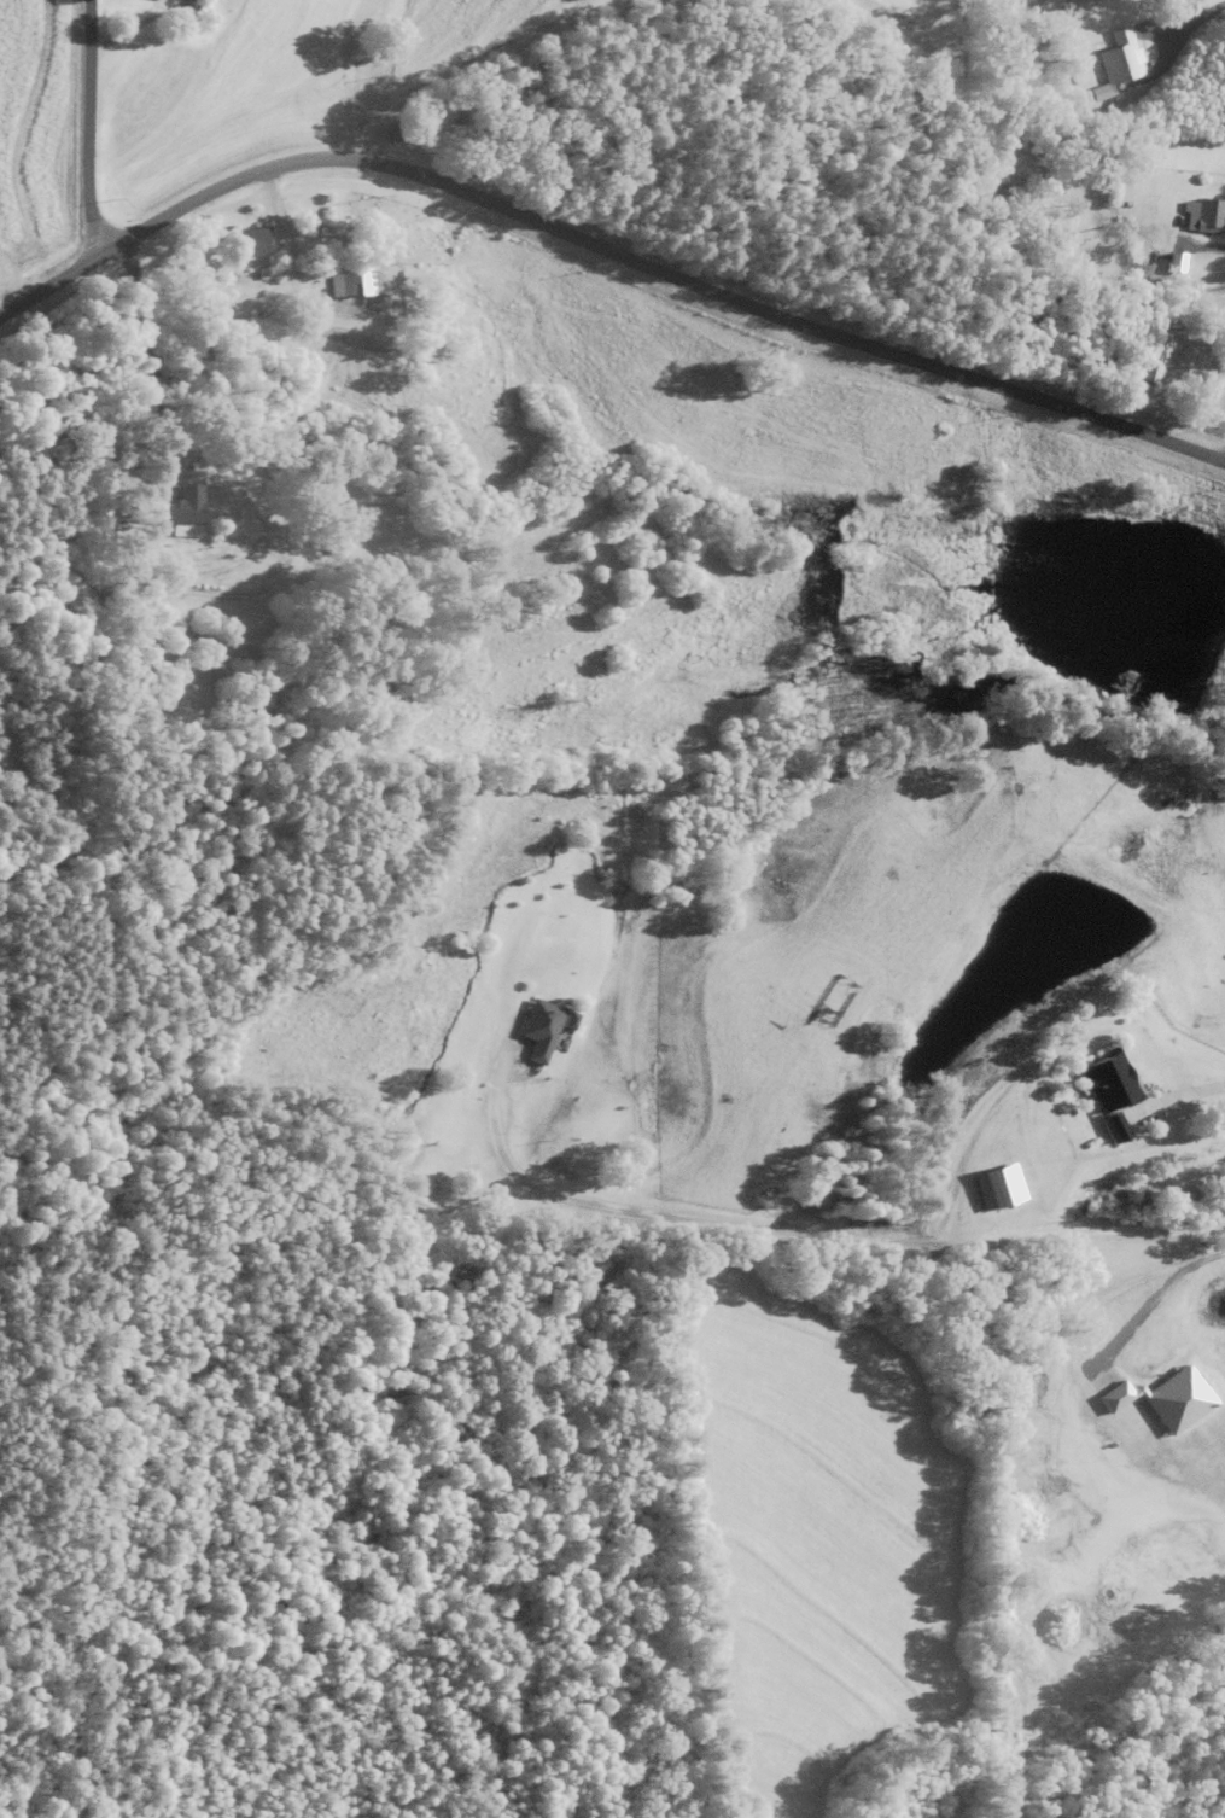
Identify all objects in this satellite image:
building: (1112, 58)
road: (427, 63)
road: (94, 132)
building: (1202, 217)
building: (253, 245)
building: (1136, 252)
road: (653, 269)
building: (352, 281)
road: (48, 290)
building: (1149, 363)
road: (187, 386)
building: (183, 520)
building: (118, 537)
building: (543, 1031)
building: (1103, 1091)
building: (990, 1187)

